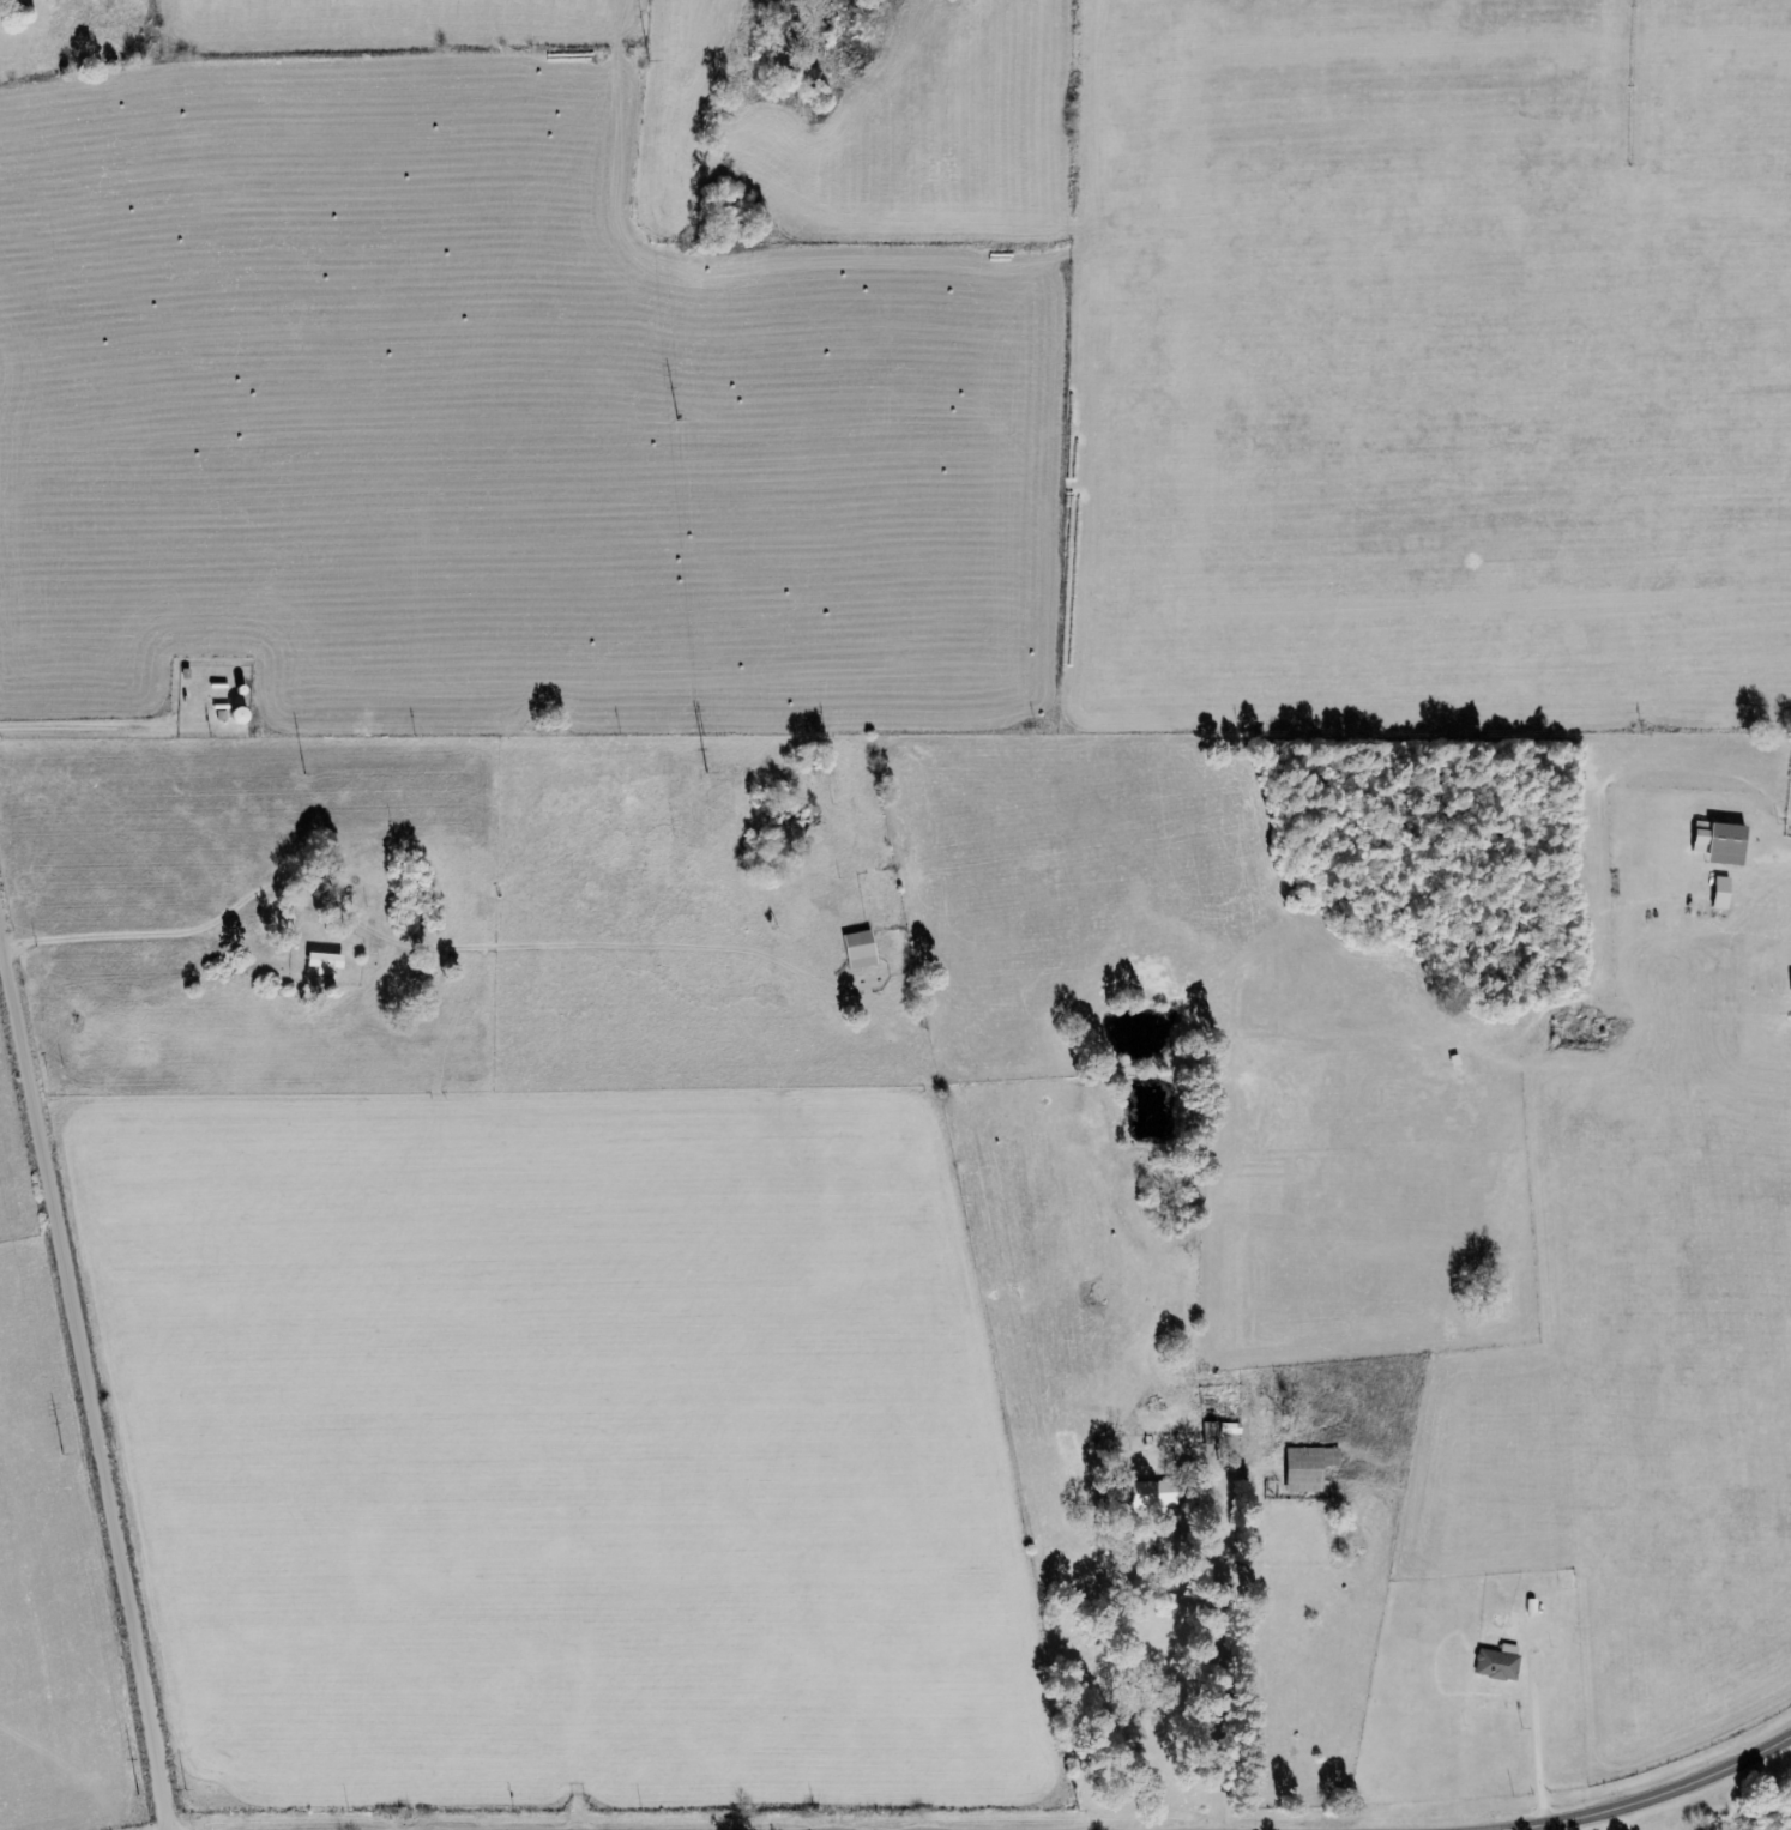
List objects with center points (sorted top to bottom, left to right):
building: (12, 0)
building: (1718, 845)
building: (1719, 894)
building: (857, 952)
building: (321, 964)
building: (1790, 984)
road: (79, 1359)
building: (1307, 1468)
building: (1154, 1496)
building: (1496, 1663)
road: (1653, 1794)

